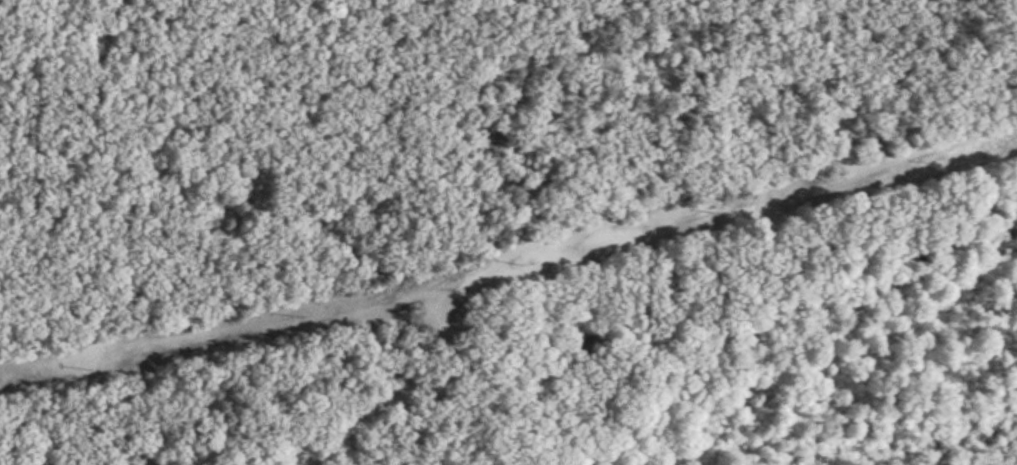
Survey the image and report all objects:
road: (457, 286)

